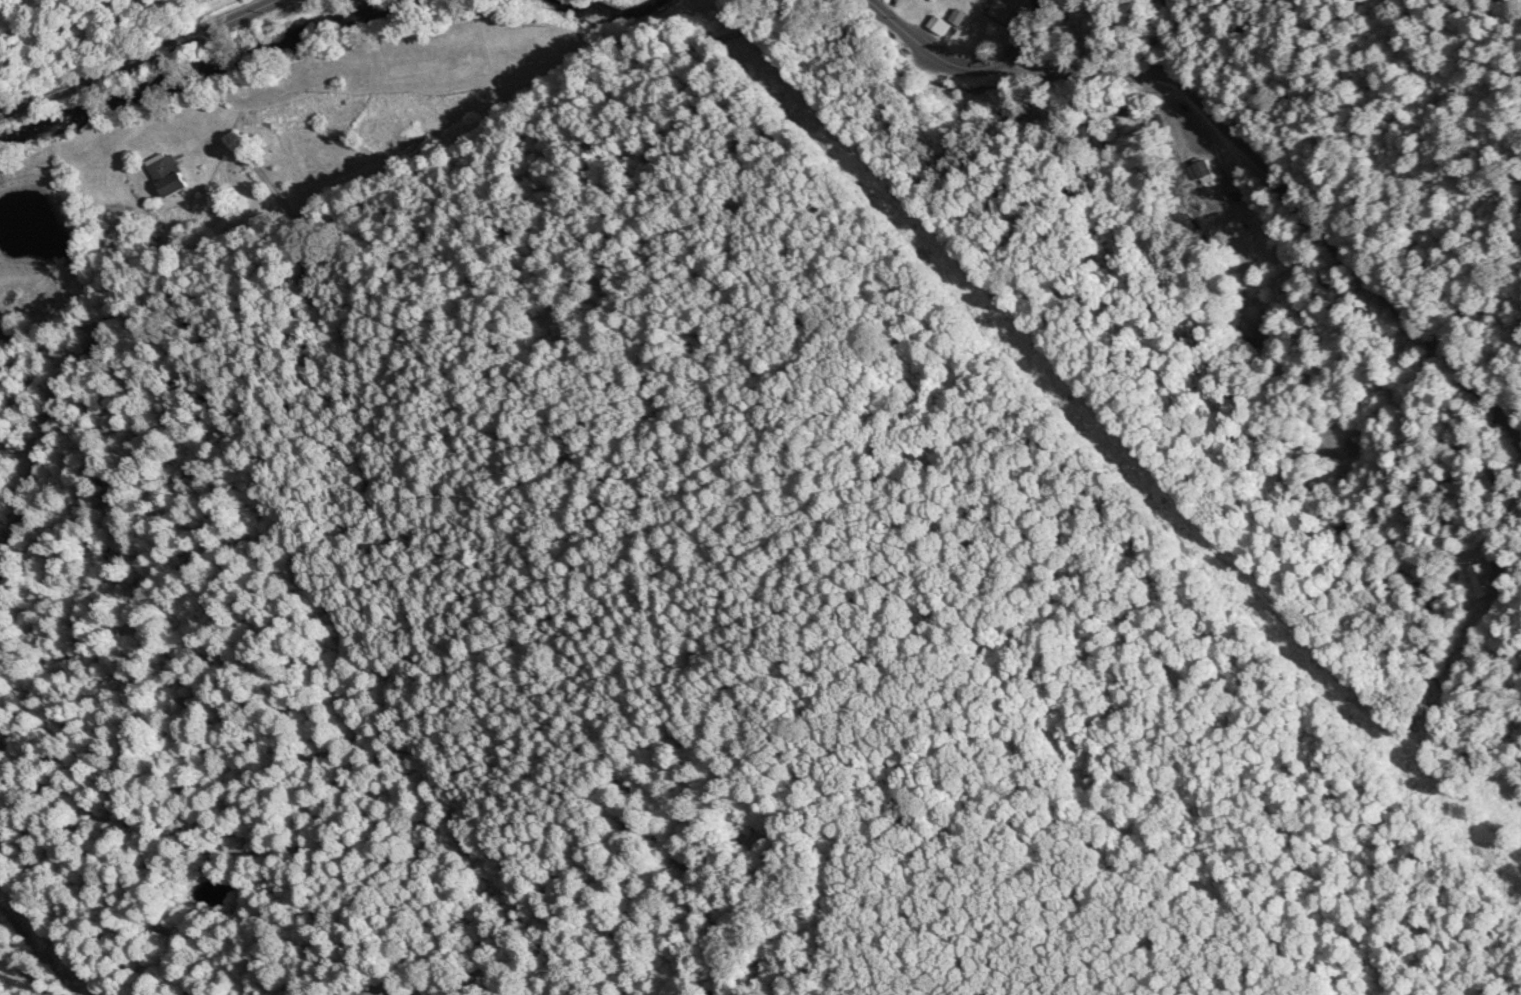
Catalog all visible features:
road: (134, 55)
road: (960, 61)
road: (1292, 189)

